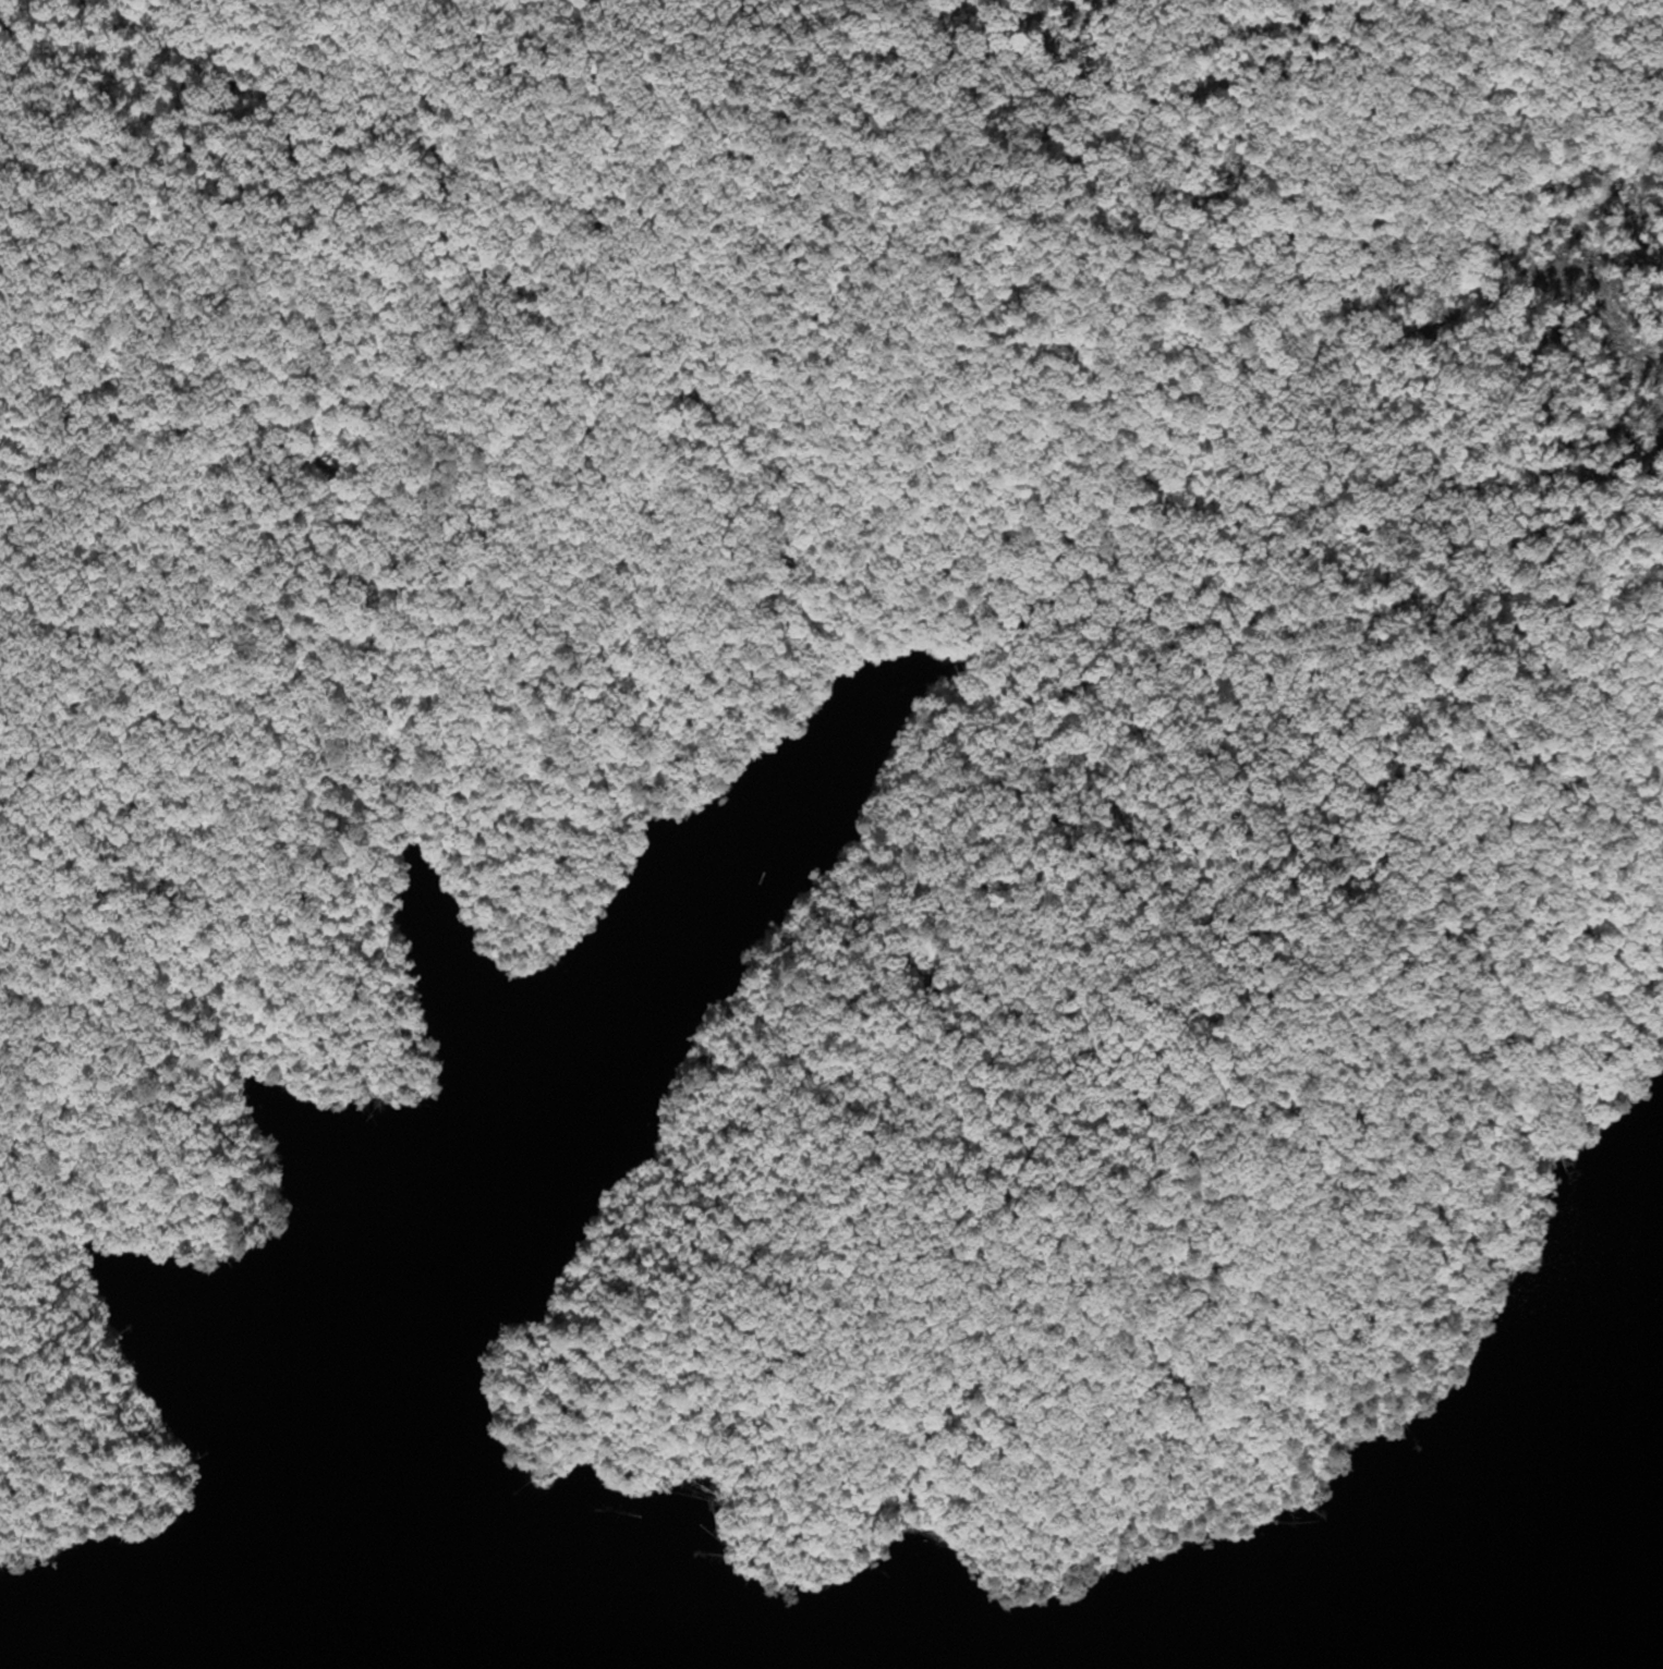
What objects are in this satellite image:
river: (1620, 1624)

